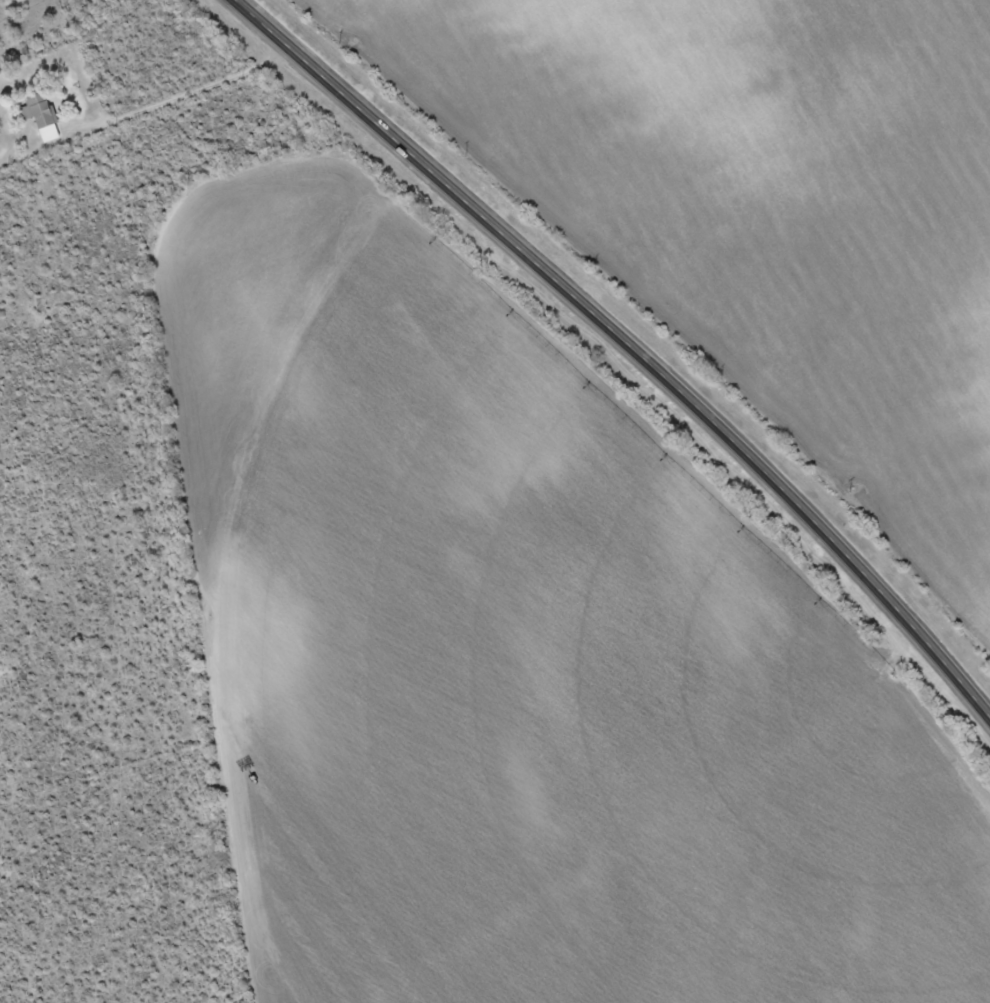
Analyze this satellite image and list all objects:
building: (41, 118)
railway: (662, 313)
road: (629, 345)

